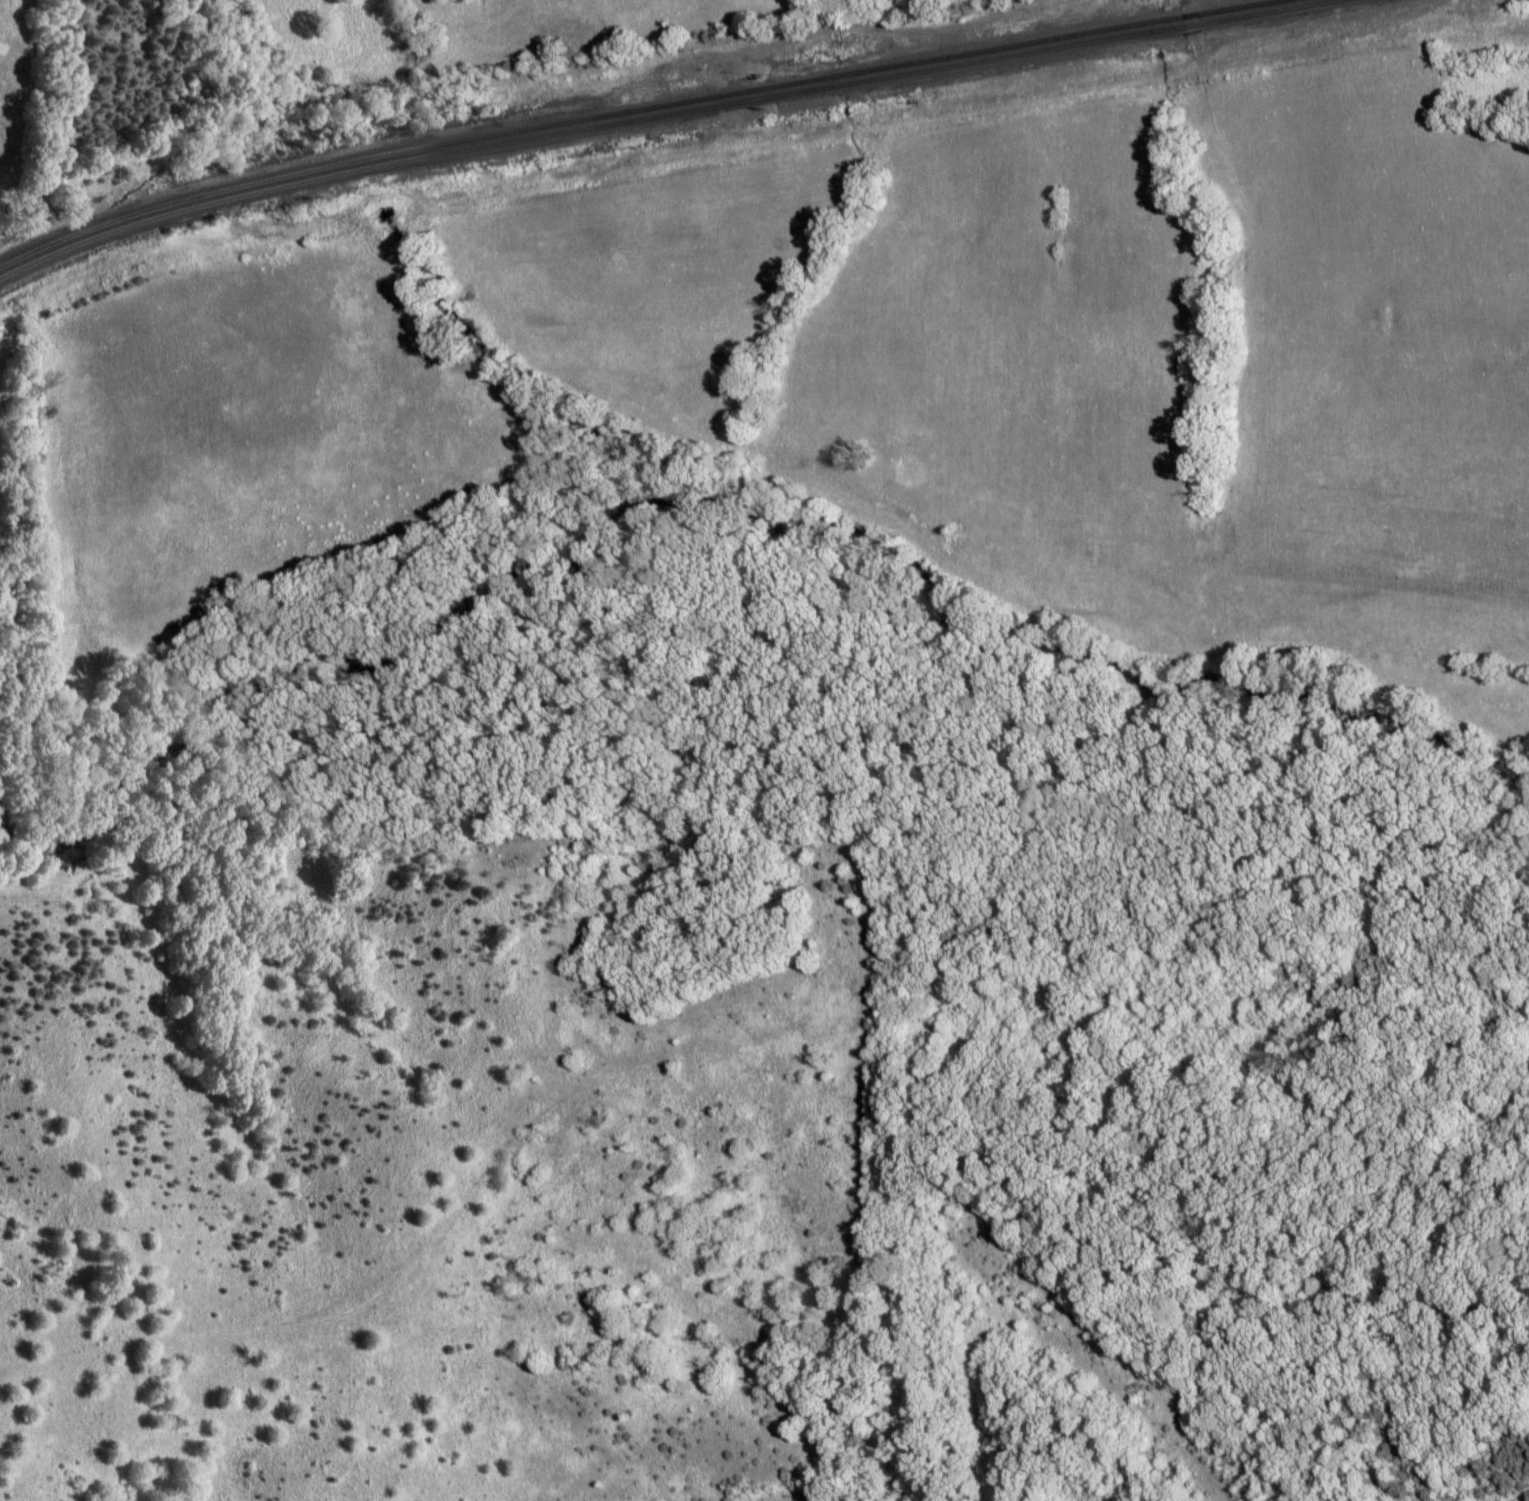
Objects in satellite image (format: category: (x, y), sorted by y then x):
road: (834, 28)
road: (1191, 42)
railway: (634, 112)
railway: (663, 116)

